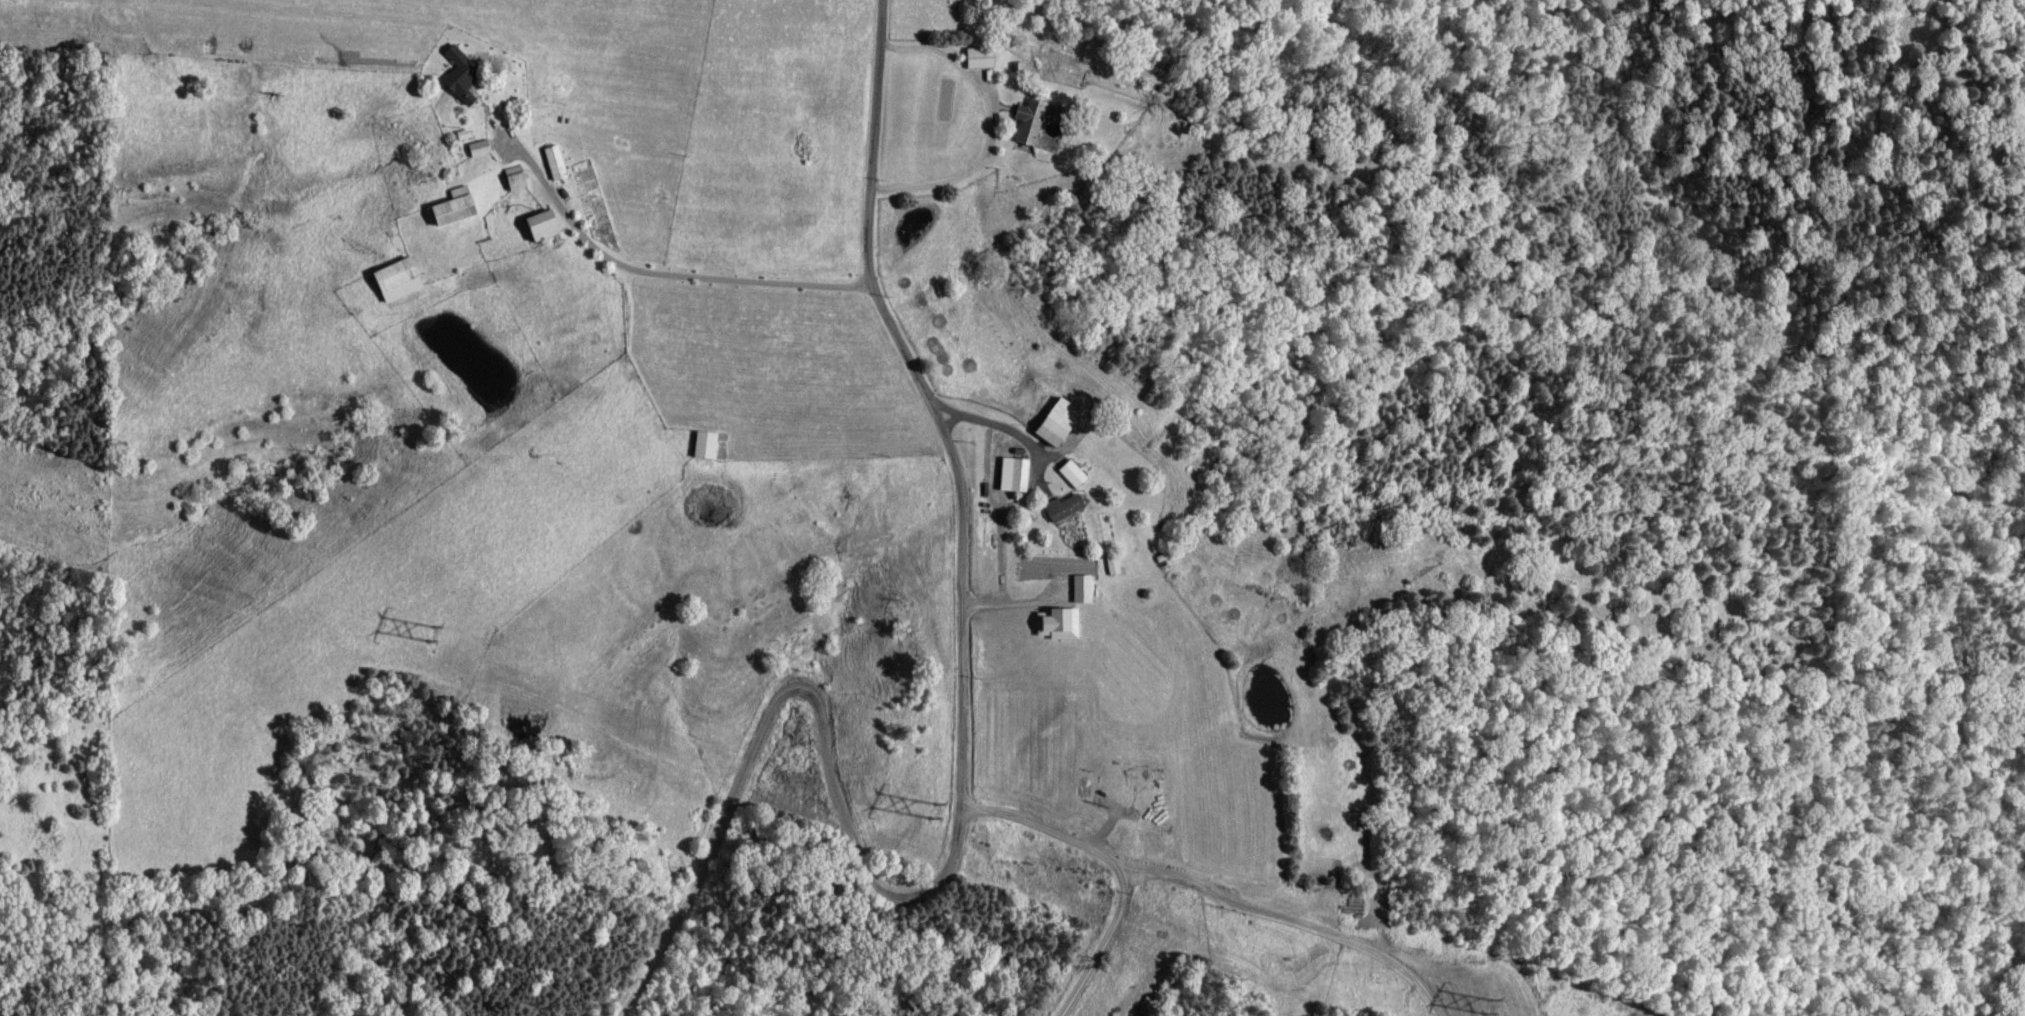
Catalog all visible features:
building: (972, 58)
building: (461, 72)
building: (1023, 121)
road: (990, 129)
building: (480, 147)
building: (556, 162)
building: (516, 178)
building: (456, 206)
building: (547, 224)
road: (662, 275)
building: (400, 279)
road: (926, 399)
building: (1048, 422)
road: (997, 426)
building: (706, 444)
building: (1066, 473)
building: (1057, 507)
building: (1108, 566)
building: (1051, 623)
power tower: (432, 636)
road: (785, 677)
building: (1137, 779)
power tower: (935, 812)
road: (1039, 829)
road: (1288, 916)
road: (1104, 943)
power tower: (1489, 1007)

